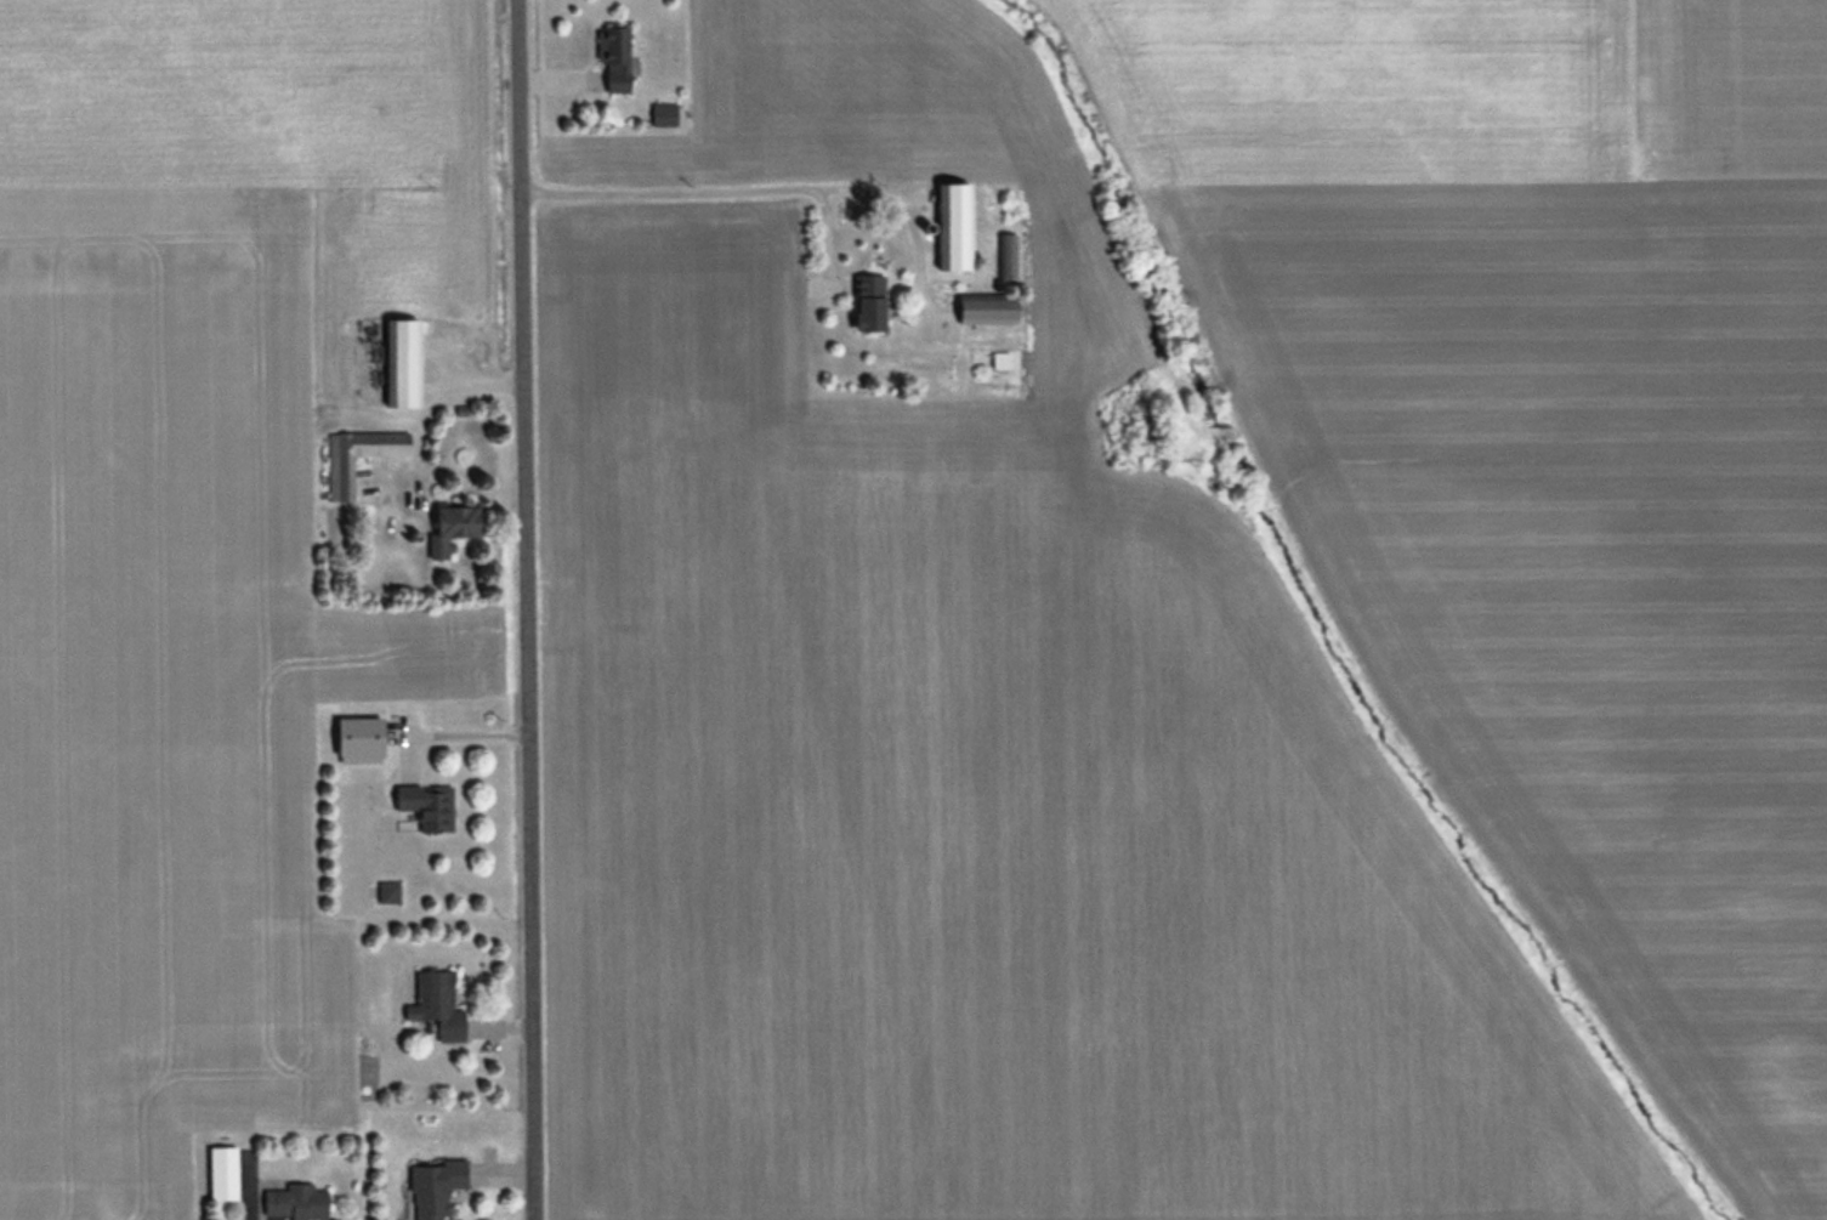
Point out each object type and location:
building: (613, 57)
building: (663, 113)
road: (767, 183)
building: (954, 225)
building: (1008, 255)
building: (868, 301)
building: (987, 310)
building: (403, 363)
road: (444, 390)
building: (341, 478)
building: (453, 528)
road: (527, 609)
road: (448, 728)
building: (358, 739)
building: (429, 807)
building: (387, 891)
building: (436, 1005)
building: (221, 1174)
building: (432, 1187)
building: (295, 1202)

